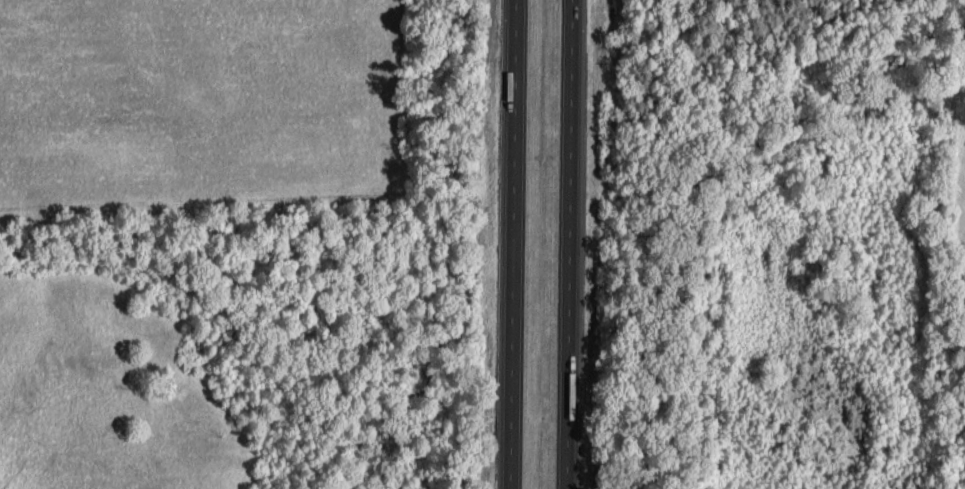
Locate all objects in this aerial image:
road: (515, 244)
road: (568, 244)

